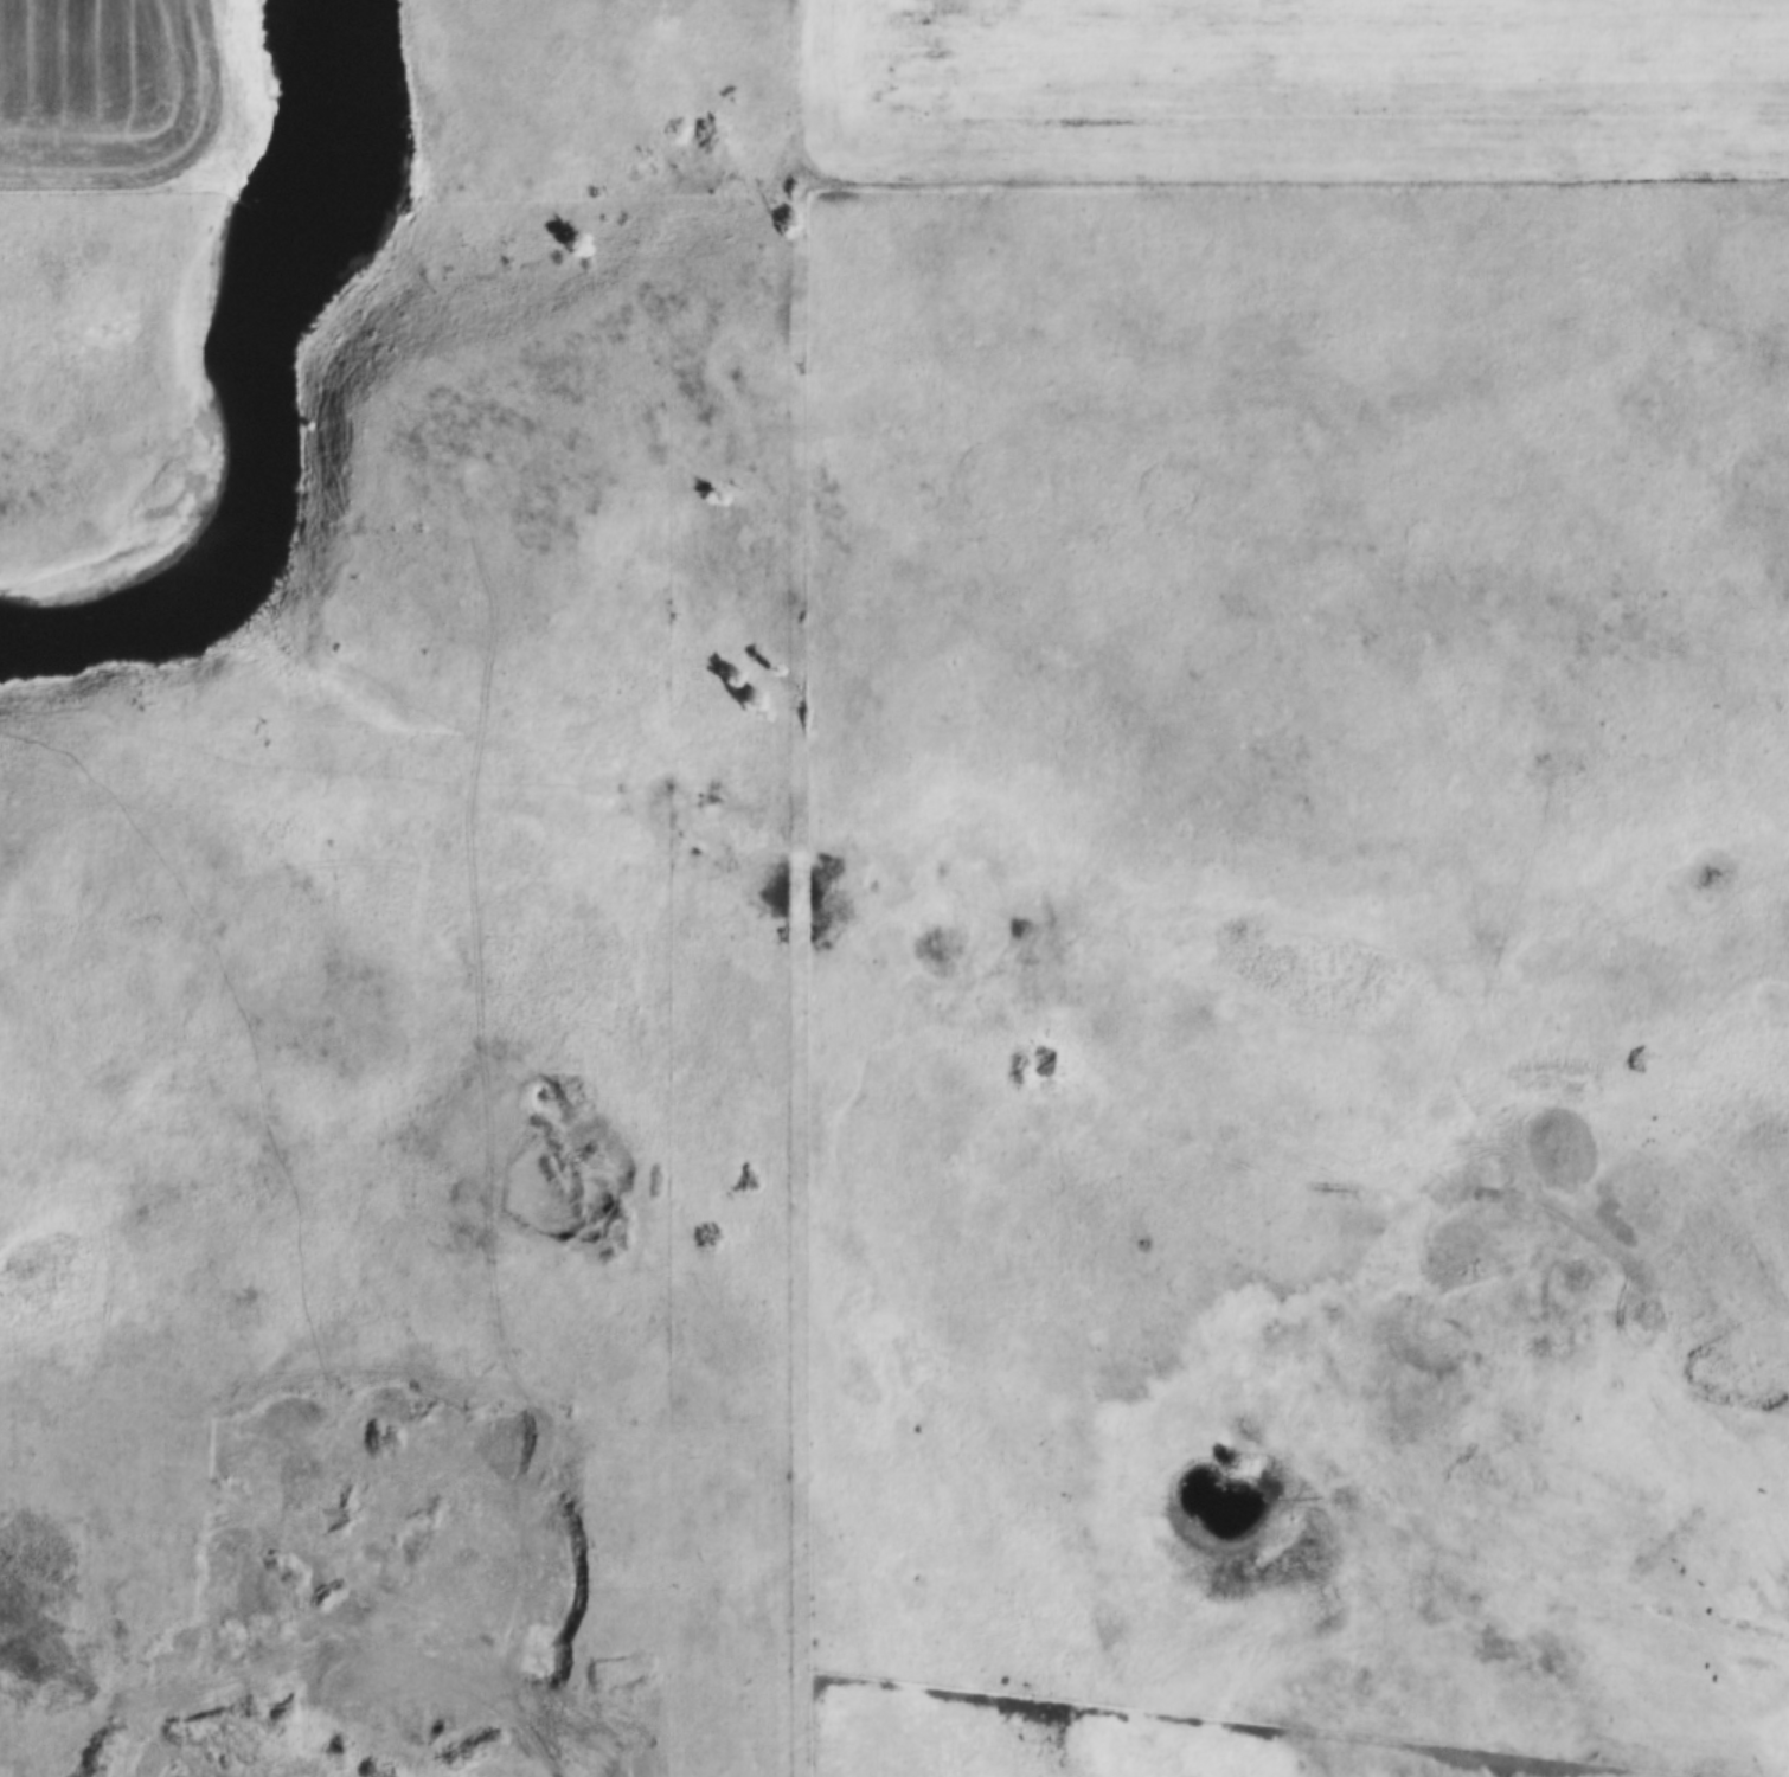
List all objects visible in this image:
river: (265, 410)
quarry: (374, 1592)
road: (432, 1757)

